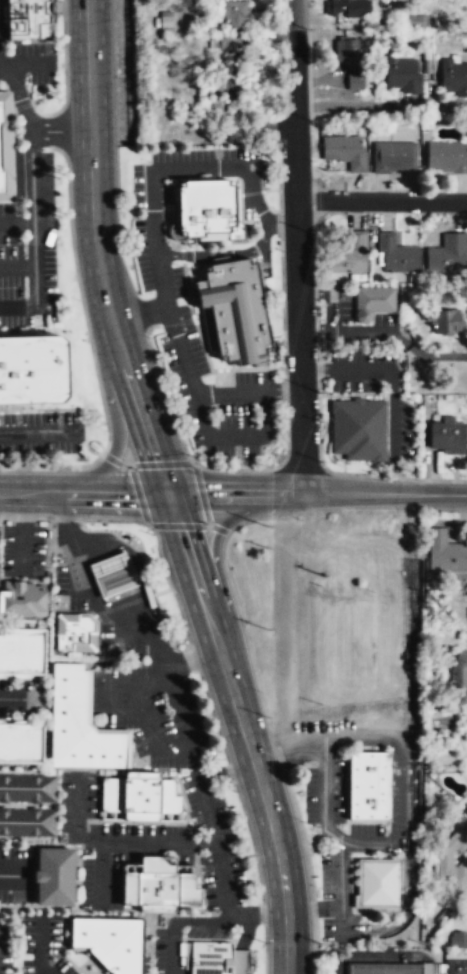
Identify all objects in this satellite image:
building: (349, 8)
building: (233, 14)
street lamp: (60, 15)
building: (26, 19)
road: (52, 20)
building: (165, 24)
street lamp: (305, 26)
road: (28, 41)
building: (225, 45)
building: (346, 53)
road: (29, 62)
road: (64, 74)
building: (403, 76)
building: (453, 78)
building: (353, 82)
road: (3, 96)
road: (6, 103)
road: (19, 106)
road: (28, 125)
building: (344, 152)
building: (446, 157)
road: (7, 158)
building: (394, 158)
road: (186, 167)
street lamp: (63, 168)
road: (278, 180)
building: (0, 182)
road: (271, 189)
road: (251, 192)
road: (381, 200)
building: (207, 207)
road: (240, 209)
road: (280, 222)
road: (282, 223)
road: (17, 224)
road: (34, 235)
parking lot: (29, 246)
road: (297, 246)
road: (255, 248)
road: (98, 254)
road: (220, 254)
building: (448, 254)
road: (182, 255)
building: (351, 256)
building: (395, 256)
road: (259, 259)
road: (17, 267)
flagpole: (188, 268)
road: (80, 296)
road: (191, 297)
street lamp: (78, 299)
building: (372, 303)
road: (282, 305)
building: (236, 310)
road: (176, 323)
building: (444, 323)
road: (171, 324)
road: (203, 346)
building: (31, 368)
road: (281, 368)
parking lot: (360, 369)
road: (207, 373)
road: (284, 388)
road: (166, 390)
road: (282, 390)
road: (113, 412)
road: (264, 426)
parking lot: (400, 427)
building: (358, 429)
street lamp: (104, 430)
road: (36, 432)
parking lot: (40, 432)
building: (446, 437)
road: (111, 459)
road: (161, 464)
road: (125, 465)
road: (52, 466)
road: (268, 467)
street lamp: (68, 469)
road: (201, 493)
road: (319, 493)
road: (86, 494)
road: (138, 495)
traffic signals: (172, 497)
road: (74, 519)
street lamp: (300, 519)
road: (178, 525)
road: (218, 528)
road: (24, 531)
road: (227, 533)
road: (214, 540)
power tower: (267, 544)
building: (446, 554)
road: (116, 573)
building: (115, 579)
gas station: (115, 579)
power tower: (322, 582)
road: (169, 585)
building: (21, 598)
power tower: (267, 628)
building: (74, 631)
building: (21, 649)
road: (192, 657)
road: (195, 661)
building: (458, 679)
road: (118, 688)
street lamp: (260, 690)
road: (12, 692)
road: (235, 702)
road: (142, 711)
parking lot: (153, 711)
road: (207, 714)
road: (7, 718)
road: (214, 719)
building: (78, 724)
road: (162, 727)
road: (95, 729)
building: (19, 741)
road: (290, 753)
road: (190, 754)
road: (401, 757)
road: (227, 772)
building: (369, 784)
building: (27, 787)
building: (139, 795)
road: (324, 795)
building: (27, 821)
parking lot: (110, 840)
road: (364, 843)
road: (154, 844)
road: (58, 846)
road: (78, 847)
road: (33, 855)
building: (451, 858)
parking lot: (16, 874)
road: (9, 875)
building: (53, 875)
road: (100, 875)
building: (377, 881)
building: (159, 884)
road: (341, 900)
road: (46, 905)
road: (16, 906)
road: (259, 914)
road: (81, 915)
building: (466, 918)
road: (342, 920)
road: (177, 922)
building: (458, 939)
building: (110, 941)
road: (289, 942)
parking lot: (42, 944)
road: (40, 945)
parking lot: (5, 949)
road: (376, 954)
building: (210, 957)
road: (92, 959)
road: (398, 964)
building: (456, 967)
building: (429, 968)
building: (385, 969)
road: (85, 971)

